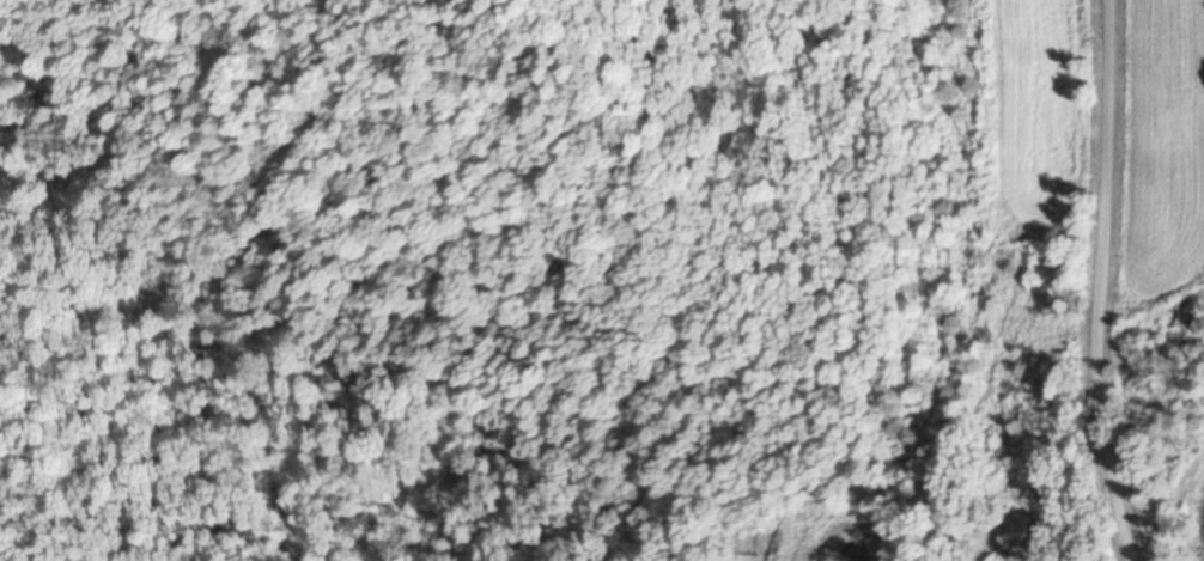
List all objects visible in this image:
road: (1101, 282)

